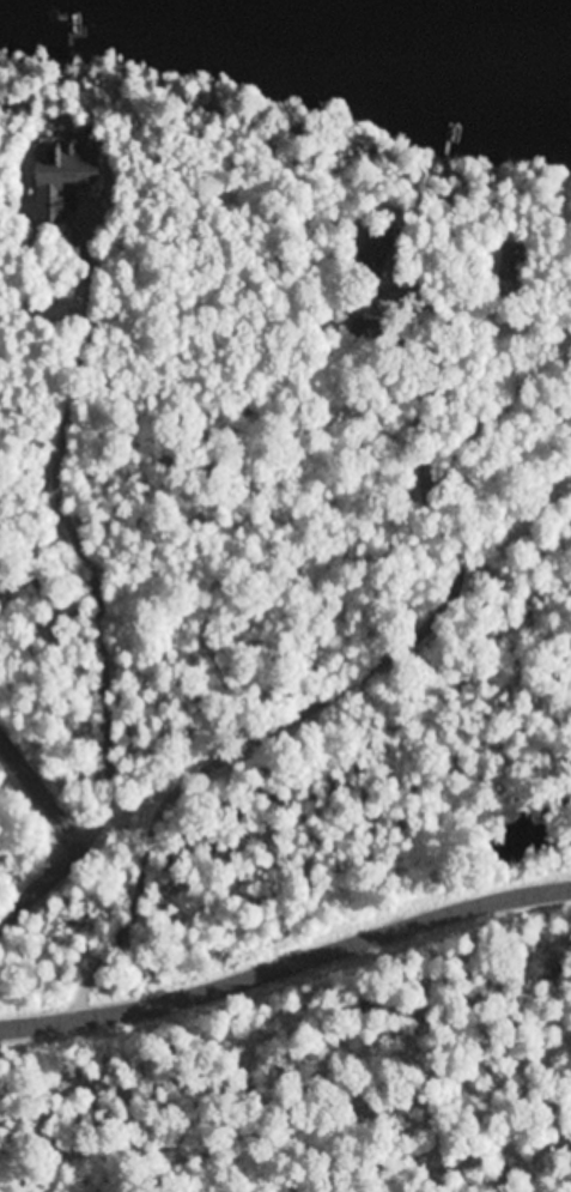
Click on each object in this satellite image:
building: (57, 179)
road: (300, 712)
road: (47, 775)
road: (320, 949)
road: (34, 979)

